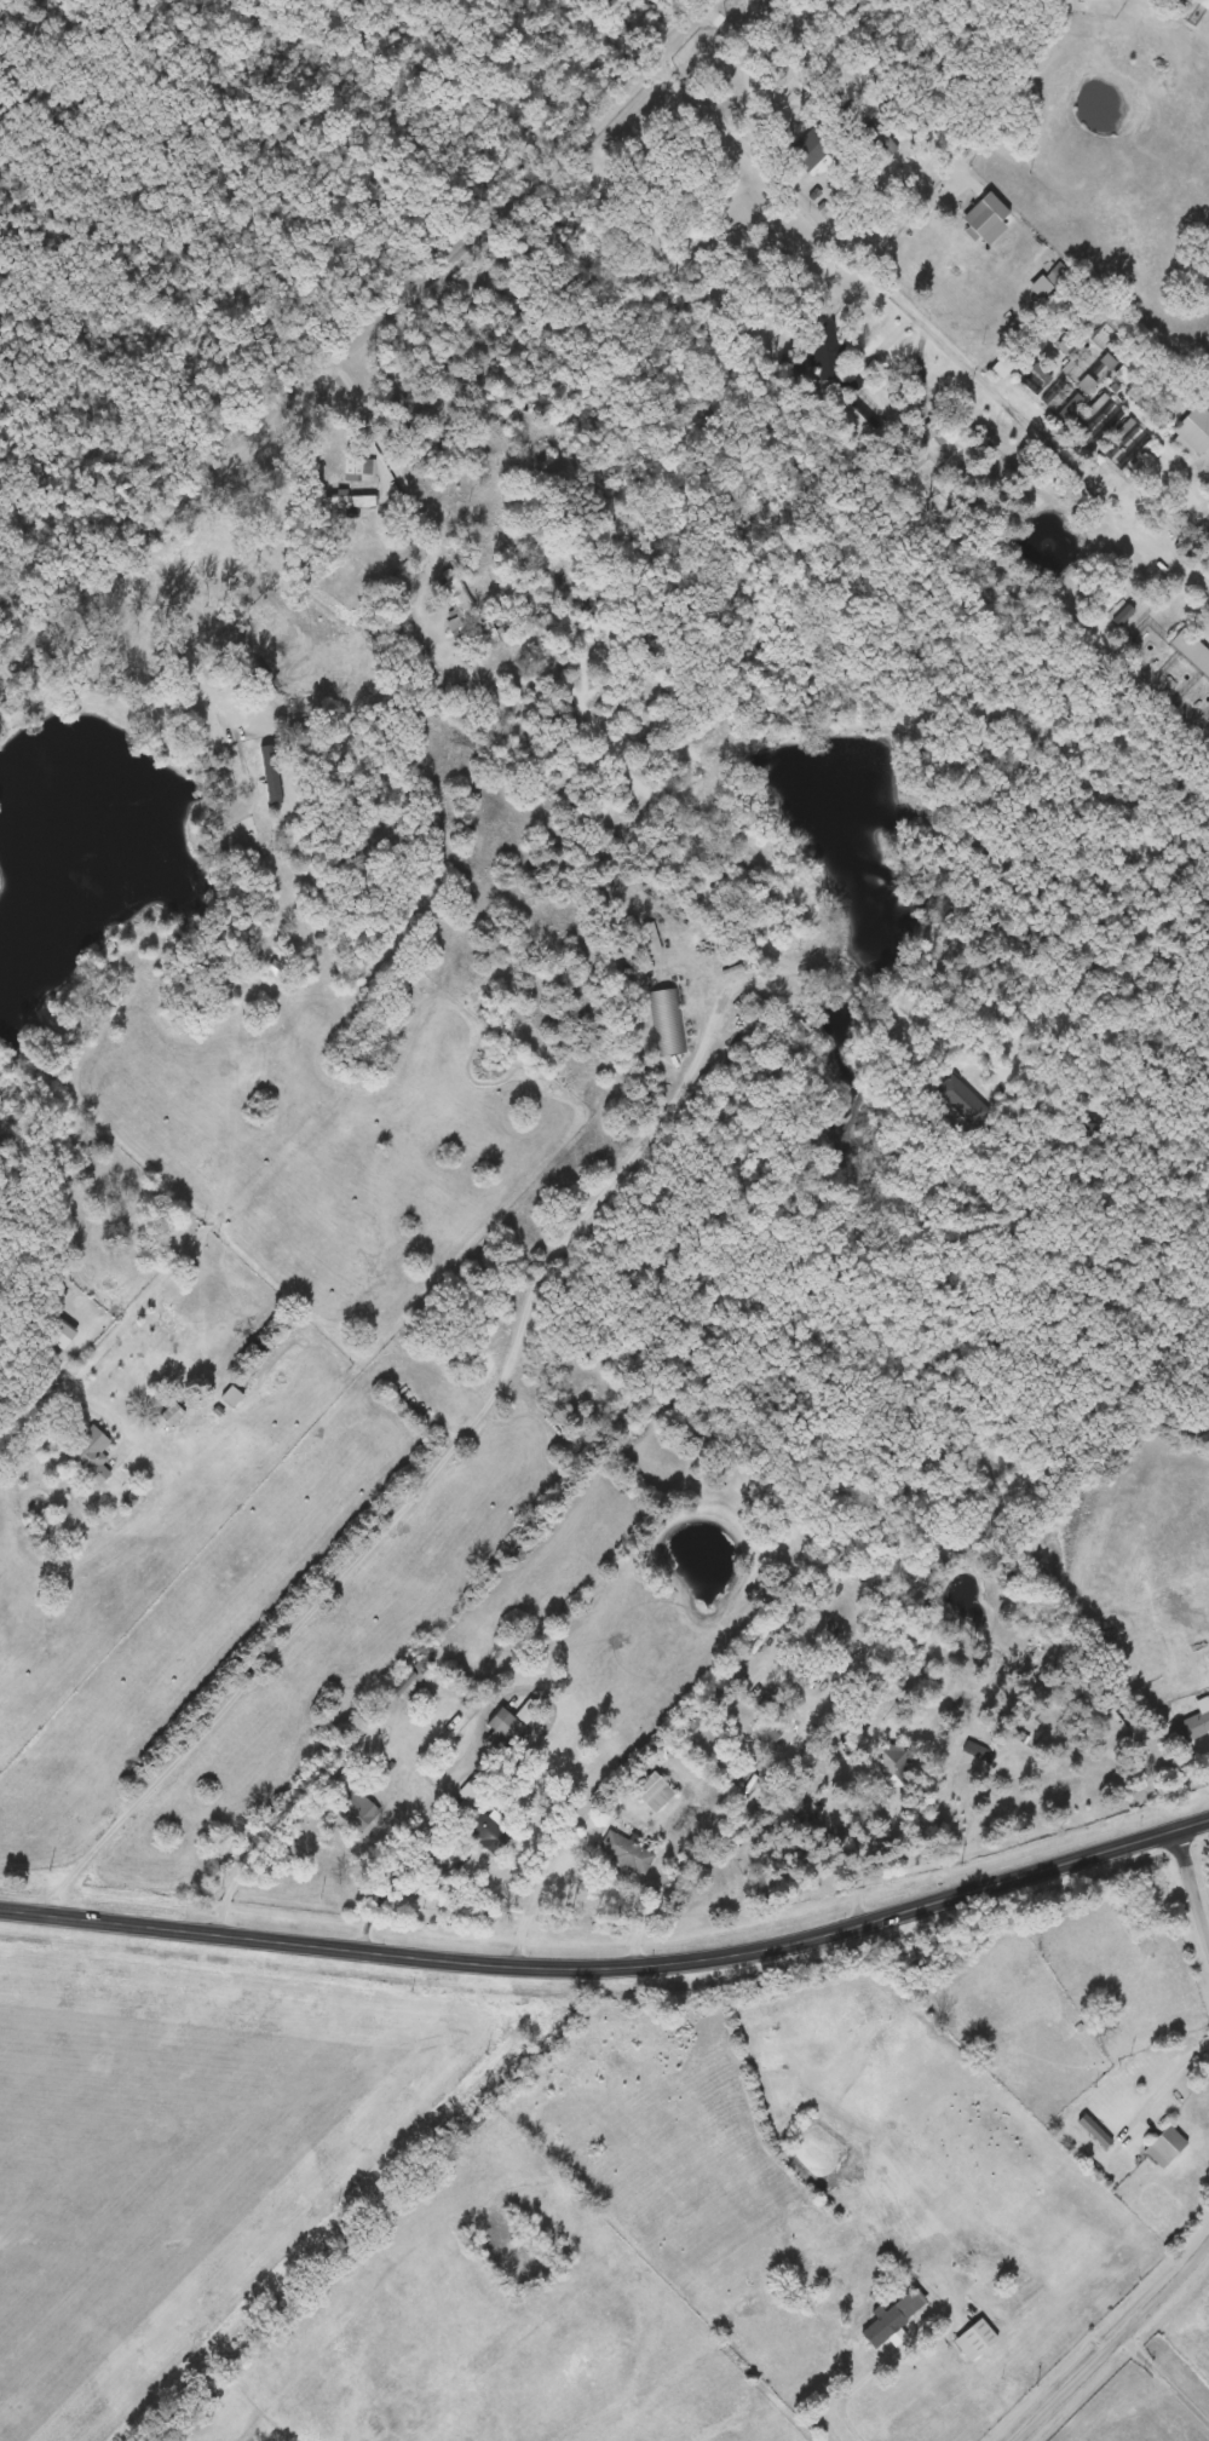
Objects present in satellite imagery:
building: (1202, 4)
road: (760, 54)
building: (996, 208)
road: (814, 219)
building: (1048, 265)
building: (1089, 318)
building: (1104, 336)
road: (356, 338)
building: (1066, 345)
building: (827, 355)
building: (1086, 385)
building: (1171, 392)
building: (1140, 398)
building: (933, 431)
road: (1049, 443)
road: (386, 454)
building: (356, 470)
building: (462, 614)
road: (189, 658)
building: (649, 938)
building: (670, 1021)
building: (955, 1099)
building: (57, 1331)
road: (501, 1389)
road: (69, 1394)
building: (232, 1395)
building: (172, 1415)
building: (91, 1455)
building: (702, 1715)
building: (503, 1727)
building: (1194, 1727)
building: (890, 1767)
building: (654, 1794)
building: (355, 1810)
road: (742, 1819)
road: (275, 1831)
building: (490, 1831)
building: (627, 1854)
road: (462, 1855)
road: (852, 1861)
road: (403, 1867)
road: (548, 1877)
road: (1193, 1884)
road: (612, 1967)
road: (1170, 2085)
building: (1096, 2131)
building: (1168, 2147)
building: (991, 2278)
building: (885, 2332)
building: (975, 2341)
road: (1112, 2342)
road: (1164, 2377)
road: (854, 2385)

